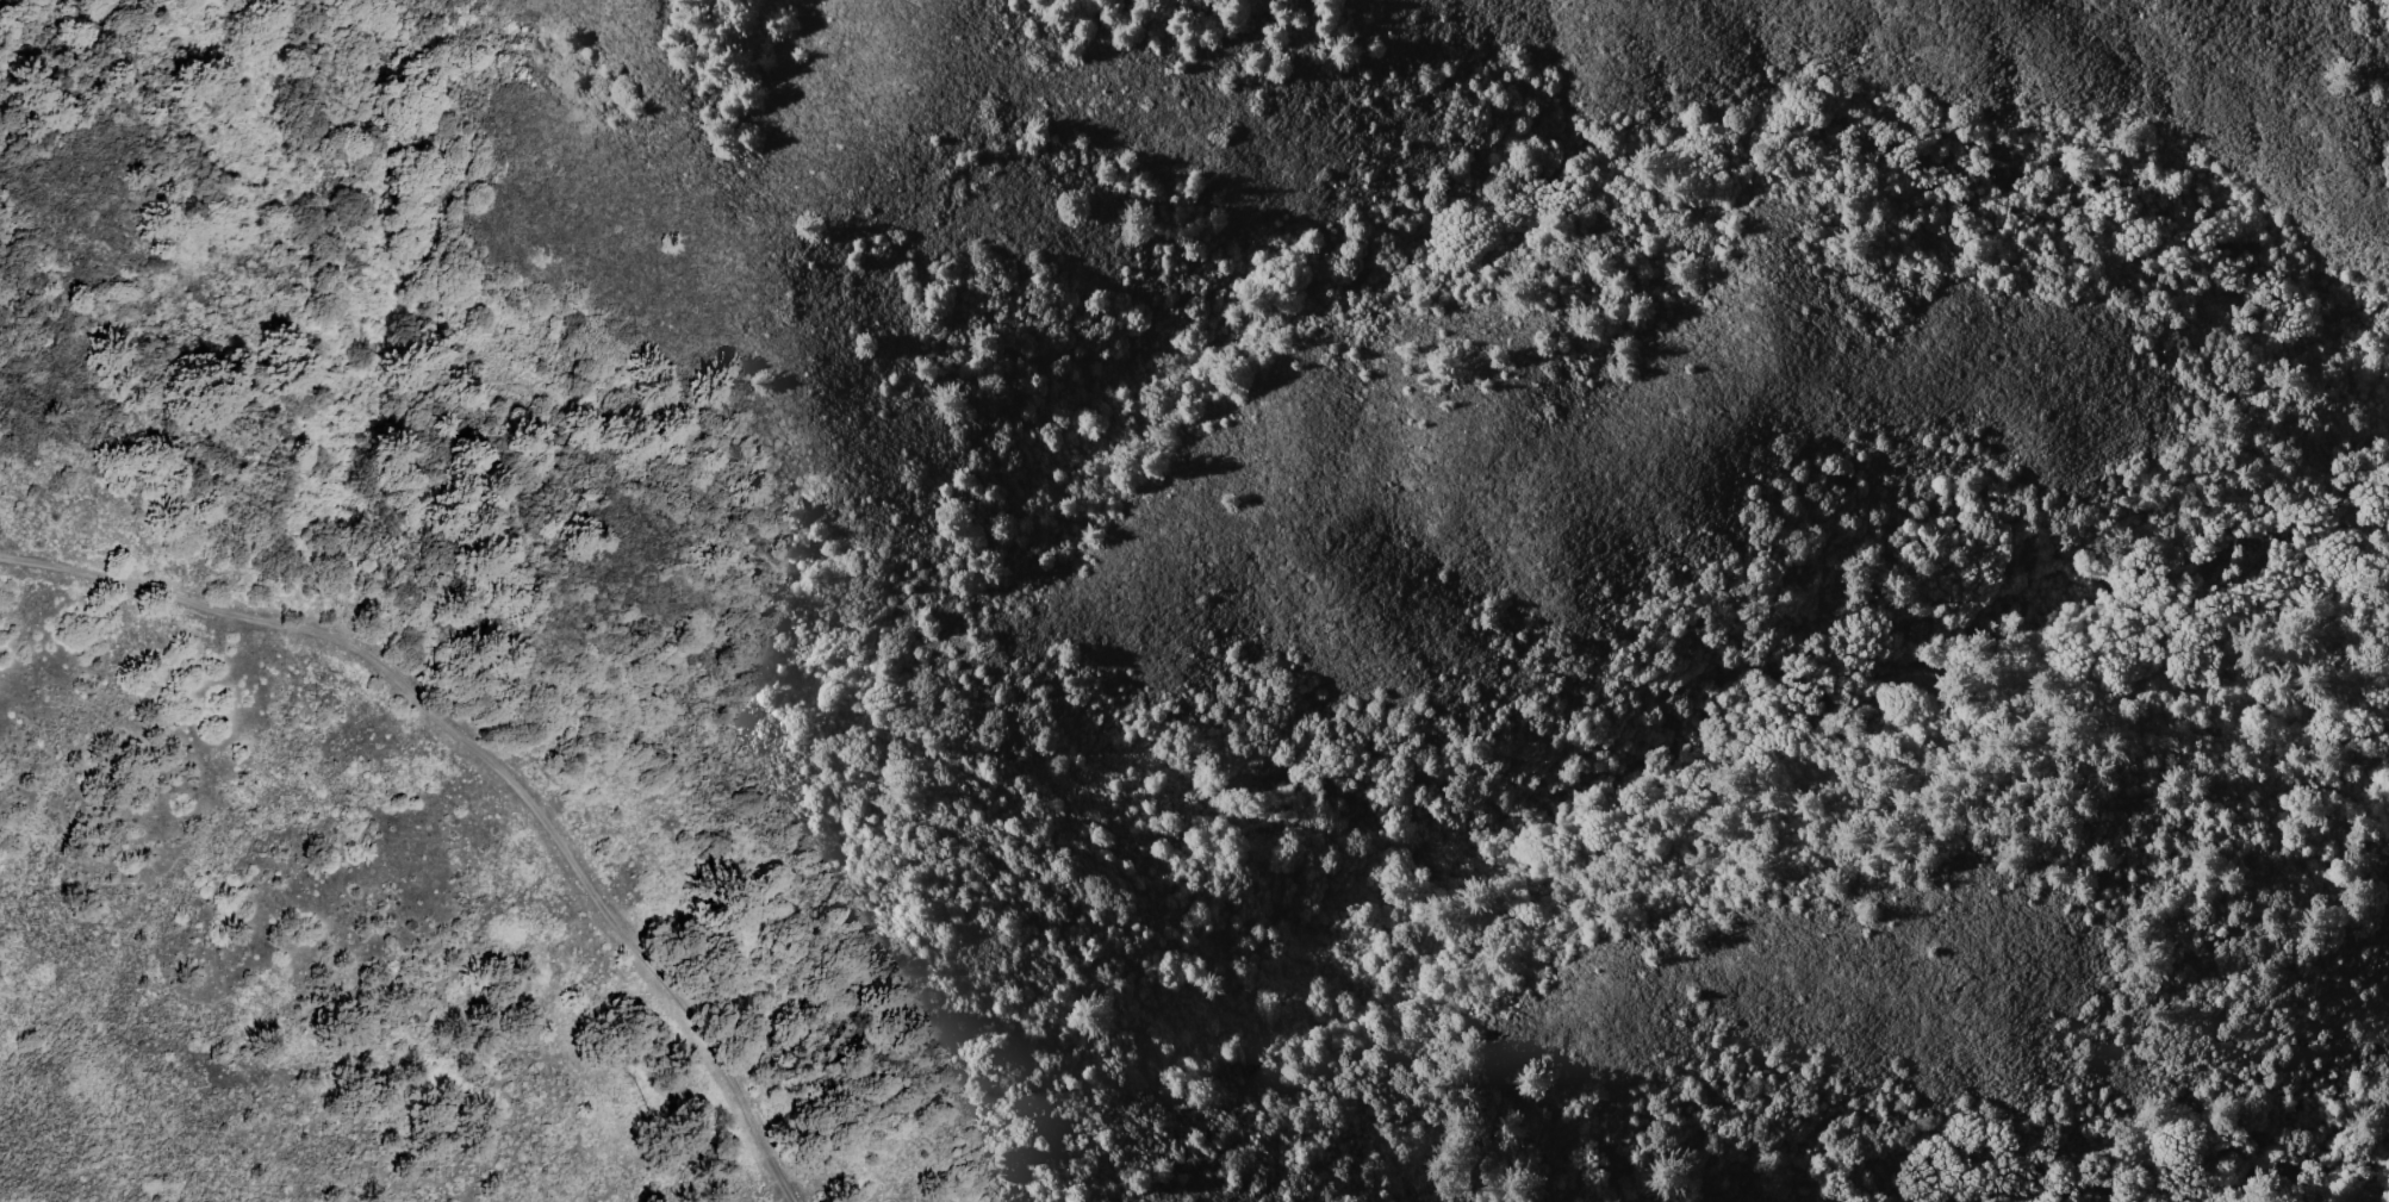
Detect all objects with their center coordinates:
road: (491, 760)

